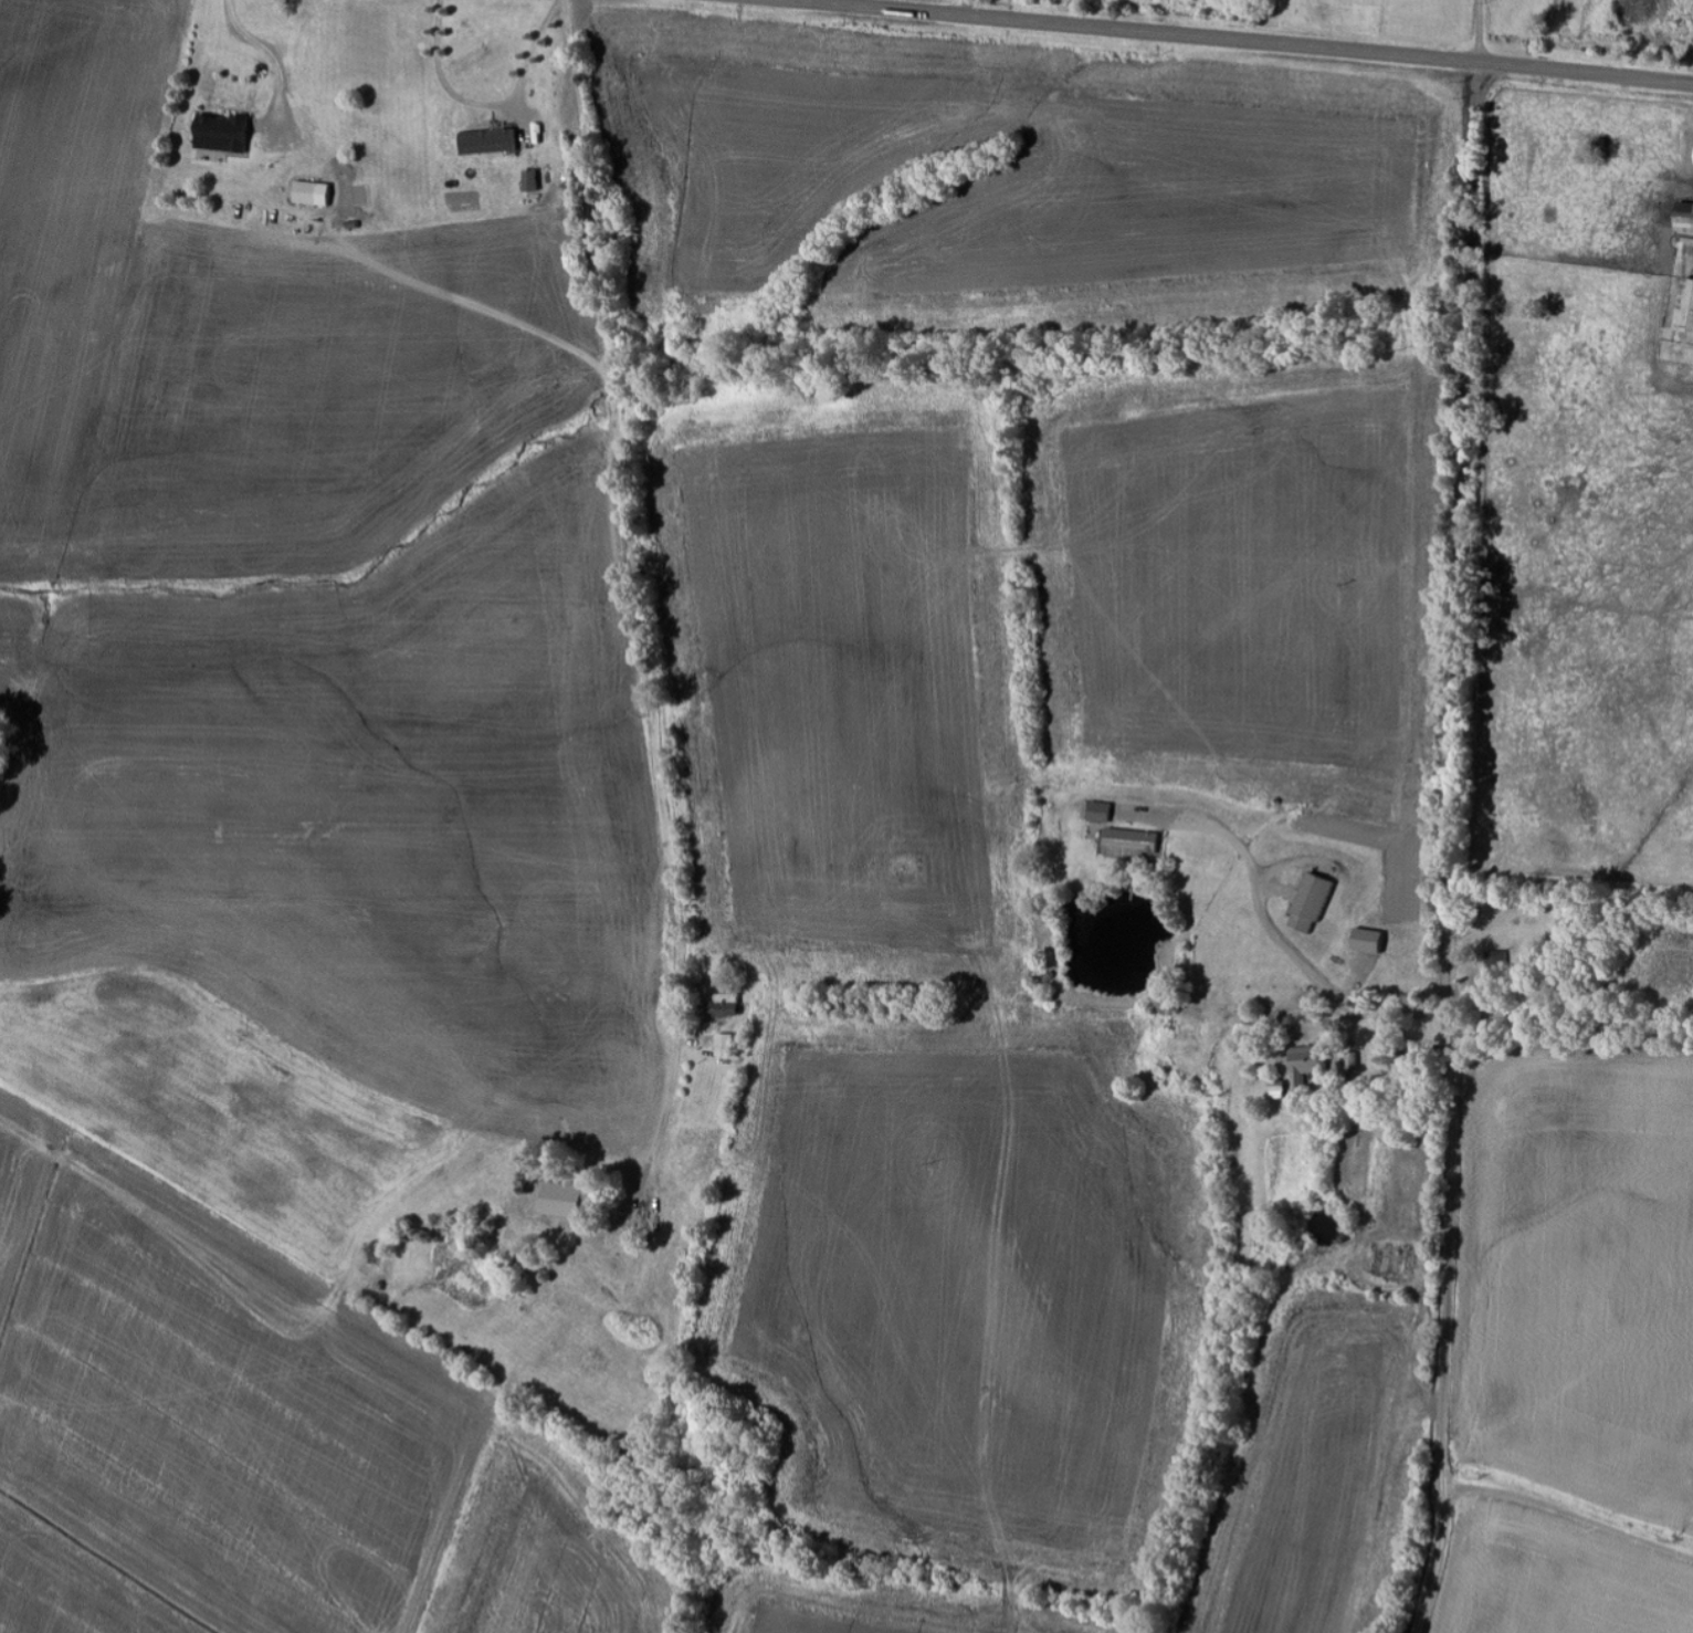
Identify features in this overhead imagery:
road: (1239, 41)
building: (227, 134)
building: (493, 143)
building: (535, 181)
building: (316, 195)
building: (1687, 219)
building: (1689, 310)
road: (645, 631)
building: (1103, 812)
building: (1136, 840)
road: (1451, 849)
building: (1315, 902)
building: (1371, 941)
building: (1499, 970)
building: (728, 1005)
building: (728, 1045)
building: (1311, 1063)
building: (572, 1201)
building: (1397, 1262)
road: (1568, 1549)

